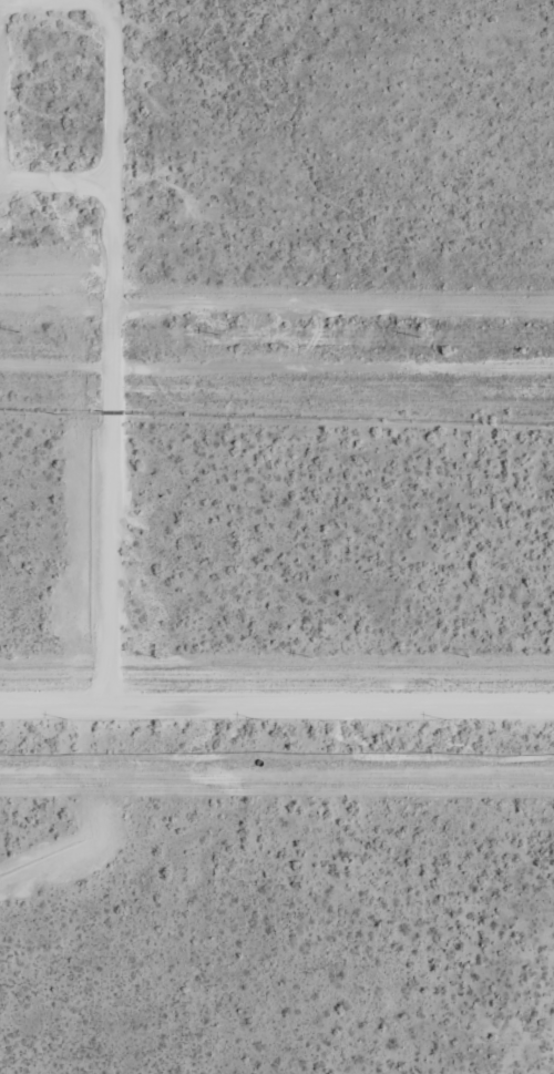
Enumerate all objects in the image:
road: (99, 90)
road: (50, 177)
road: (101, 437)
road: (276, 695)

